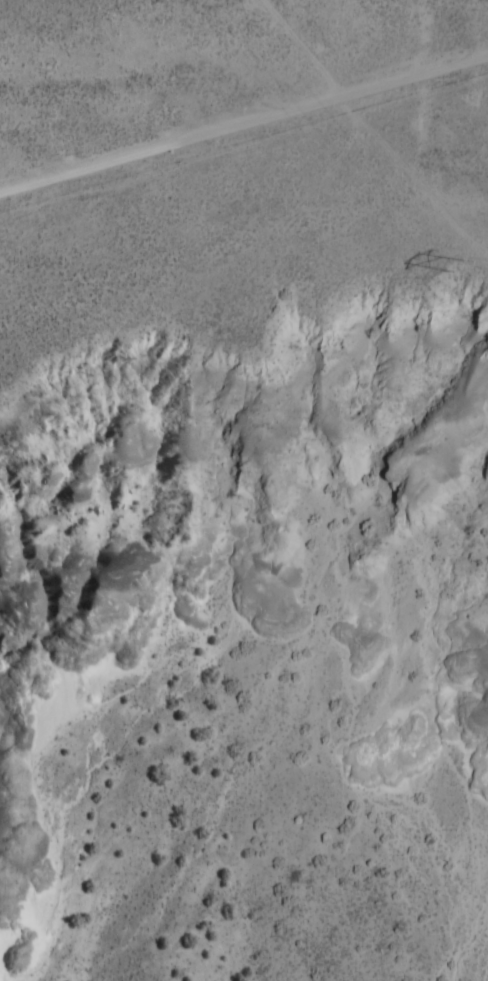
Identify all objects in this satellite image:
road: (244, 83)
power tower: (454, 266)

